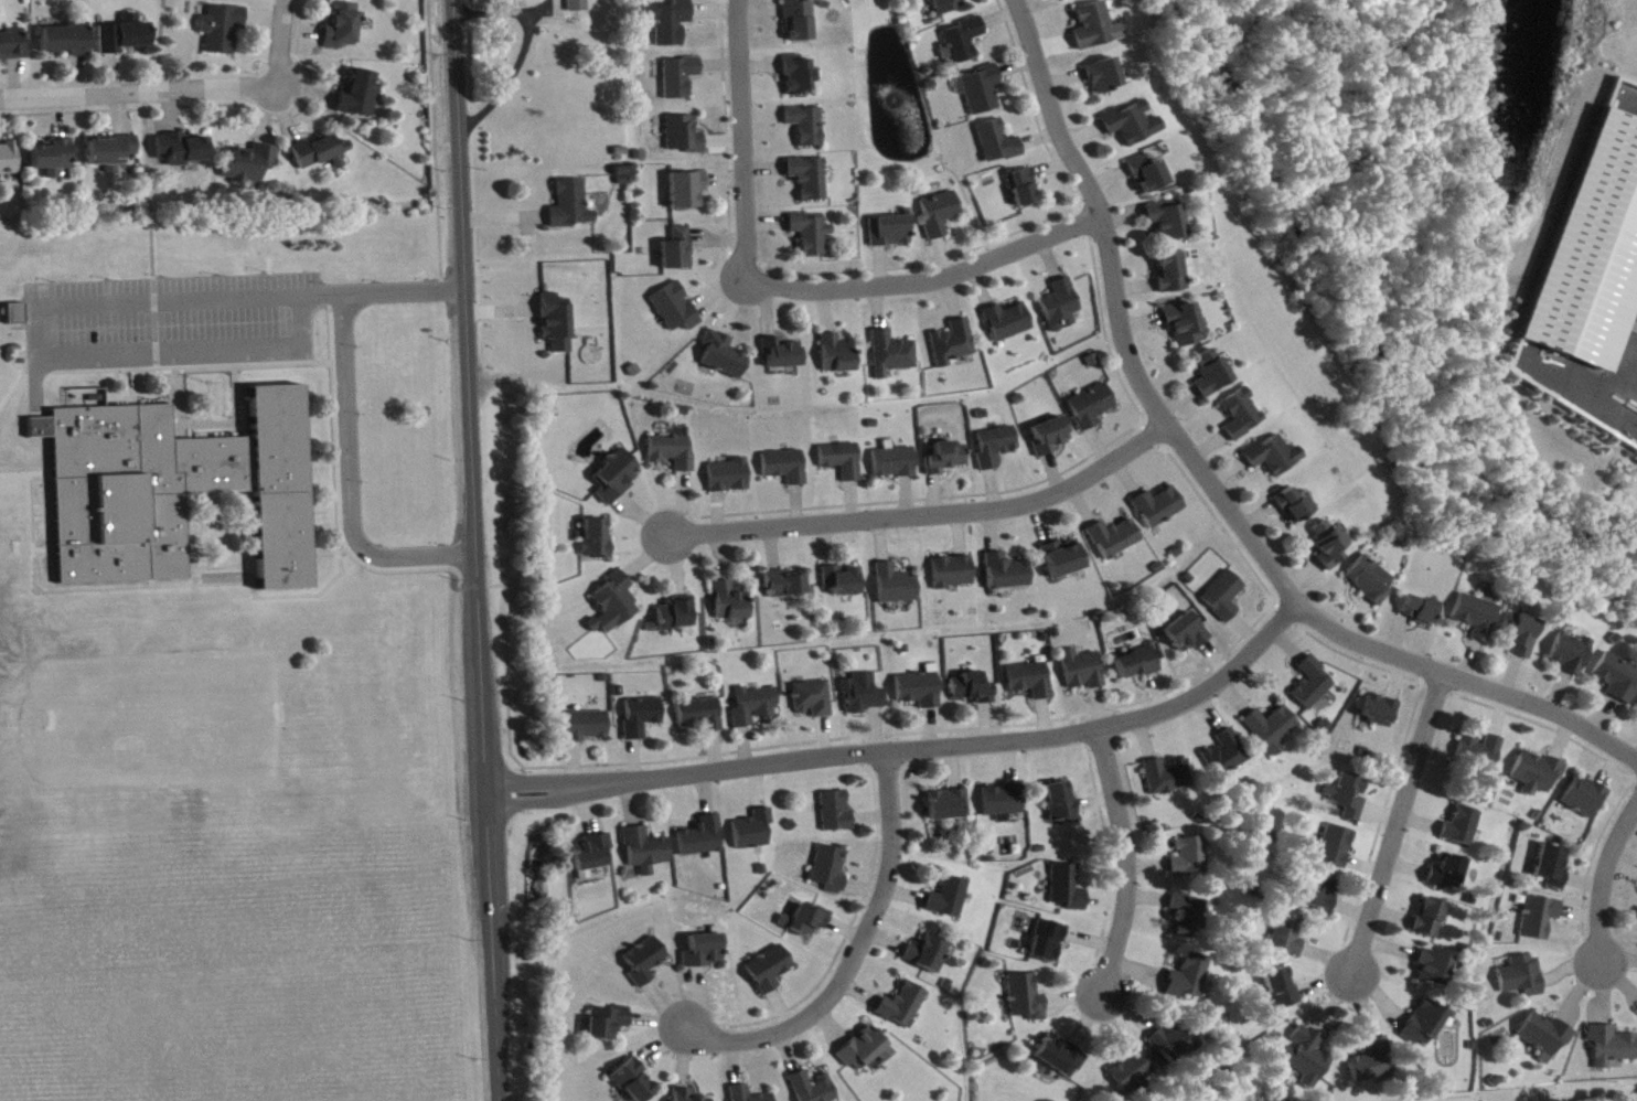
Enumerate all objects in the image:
building: (1069, 0)
building: (580, 7)
building: (948, 7)
building: (801, 21)
building: (673, 23)
building: (345, 24)
building: (1096, 29)
building: (224, 30)
building: (126, 38)
building: (68, 42)
building: (965, 42)
road: (281, 43)
road: (158, 45)
building: (13, 46)
building: (800, 77)
building: (1104, 77)
building: (682, 78)
building: (984, 92)
road: (139, 93)
building: (361, 96)
building: (1133, 125)
building: (807, 127)
building: (685, 137)
road: (743, 138)
road: (432, 143)
building: (998, 143)
building: (182, 151)
building: (113, 153)
building: (322, 154)
building: (54, 159)
building: (10, 161)
building: (250, 165)
building: (1148, 175)
building: (810, 180)
road: (146, 185)
building: (1024, 190)
building: (688, 192)
building: (573, 207)
building: (941, 215)
building: (1166, 222)
building: (891, 233)
building: (812, 235)
building: (1591, 249)
building: (680, 252)
building: (1171, 274)
road: (931, 282)
road: (400, 289)
building: (1061, 308)
building: (677, 310)
parking lot: (176, 322)
road: (153, 323)
building: (1008, 323)
building: (558, 325)
building: (1185, 325)
road: (38, 331)
building: (954, 345)
building: (783, 355)
building: (894, 355)
building: (726, 356)
building: (839, 356)
road: (197, 367)
road: (21, 370)
building: (1212, 375)
flagpole: (213, 383)
road: (140, 388)
road: (248, 393)
building: (89, 399)
road: (184, 405)
road: (214, 405)
building: (1092, 408)
building: (1242, 416)
road: (240, 423)
building: (1051, 438)
road: (447, 439)
building: (997, 448)
building: (674, 453)
building: (1274, 457)
building: (949, 459)
building: (844, 461)
building: (896, 463)
building: (788, 468)
road: (30, 472)
building: (618, 478)
building: (730, 478)
road: (345, 480)
road: (1207, 482)
building: (179, 491)
building: (1295, 507)
building: (1159, 509)
road: (928, 513)
building: (1116, 539)
building: (598, 541)
building: (1330, 546)
road: (474, 550)
building: (1064, 560)
building: (954, 574)
building: (1008, 574)
road: (161, 581)
building: (844, 581)
building: (1372, 581)
road: (471, 584)
building: (789, 585)
building: (898, 587)
building: (1224, 598)
building: (731, 603)
building: (614, 606)
building: (1421, 611)
building: (677, 616)
building: (1478, 618)
building: (1187, 635)
building: (1526, 639)
building: (1572, 656)
building: (1140, 665)
building: (1084, 672)
road: (505, 680)
building: (1618, 680)
building: (1033, 682)
building: (1313, 685)
building: (974, 691)
building: (921, 692)
building: (865, 695)
building: (814, 701)
building: (757, 707)
building: (1380, 713)
building: (703, 716)
building: (643, 718)
building: (588, 728)
building: (1273, 729)
road: (913, 749)
building: (1481, 753)
building: (1227, 758)
building: (1539, 774)
building: (1167, 779)
building: (1586, 799)
building: (1346, 800)
building: (1005, 802)
building: (1062, 804)
building: (951, 806)
building: (837, 814)
road: (1399, 823)
building: (1463, 829)
building: (756, 832)
building: (704, 840)
building: (1336, 849)
building: (648, 852)
building: (592, 856)
road: (1126, 859)
building: (1191, 859)
building: (1553, 869)
building: (831, 870)
building: (1448, 875)
road: (1602, 879)
building: (1069, 890)
building: (1319, 895)
building: (951, 900)
building: (1187, 917)
building: (1431, 919)
building: (1541, 919)
building: (807, 922)
building: (1287, 937)
building: (1049, 943)
building: (706, 952)
road: (857, 953)
building: (930, 955)
building: (646, 963)
building: (770, 971)
building: (1435, 971)
building: (1190, 979)
building: (1523, 979)
building: (1281, 991)
building: (1028, 1000)
building: (905, 1007)
building: (609, 1025)
building: (1425, 1026)
building: (1547, 1038)
building: (1174, 1045)
building: (1613, 1047)
building: (867, 1051)
building: (1062, 1059)
building: (1308, 1059)
building: (1373, 1063)
building: (1134, 1073)
building: (634, 1082)
building: (814, 1088)
building: (686, 1095)
building: (748, 1095)

